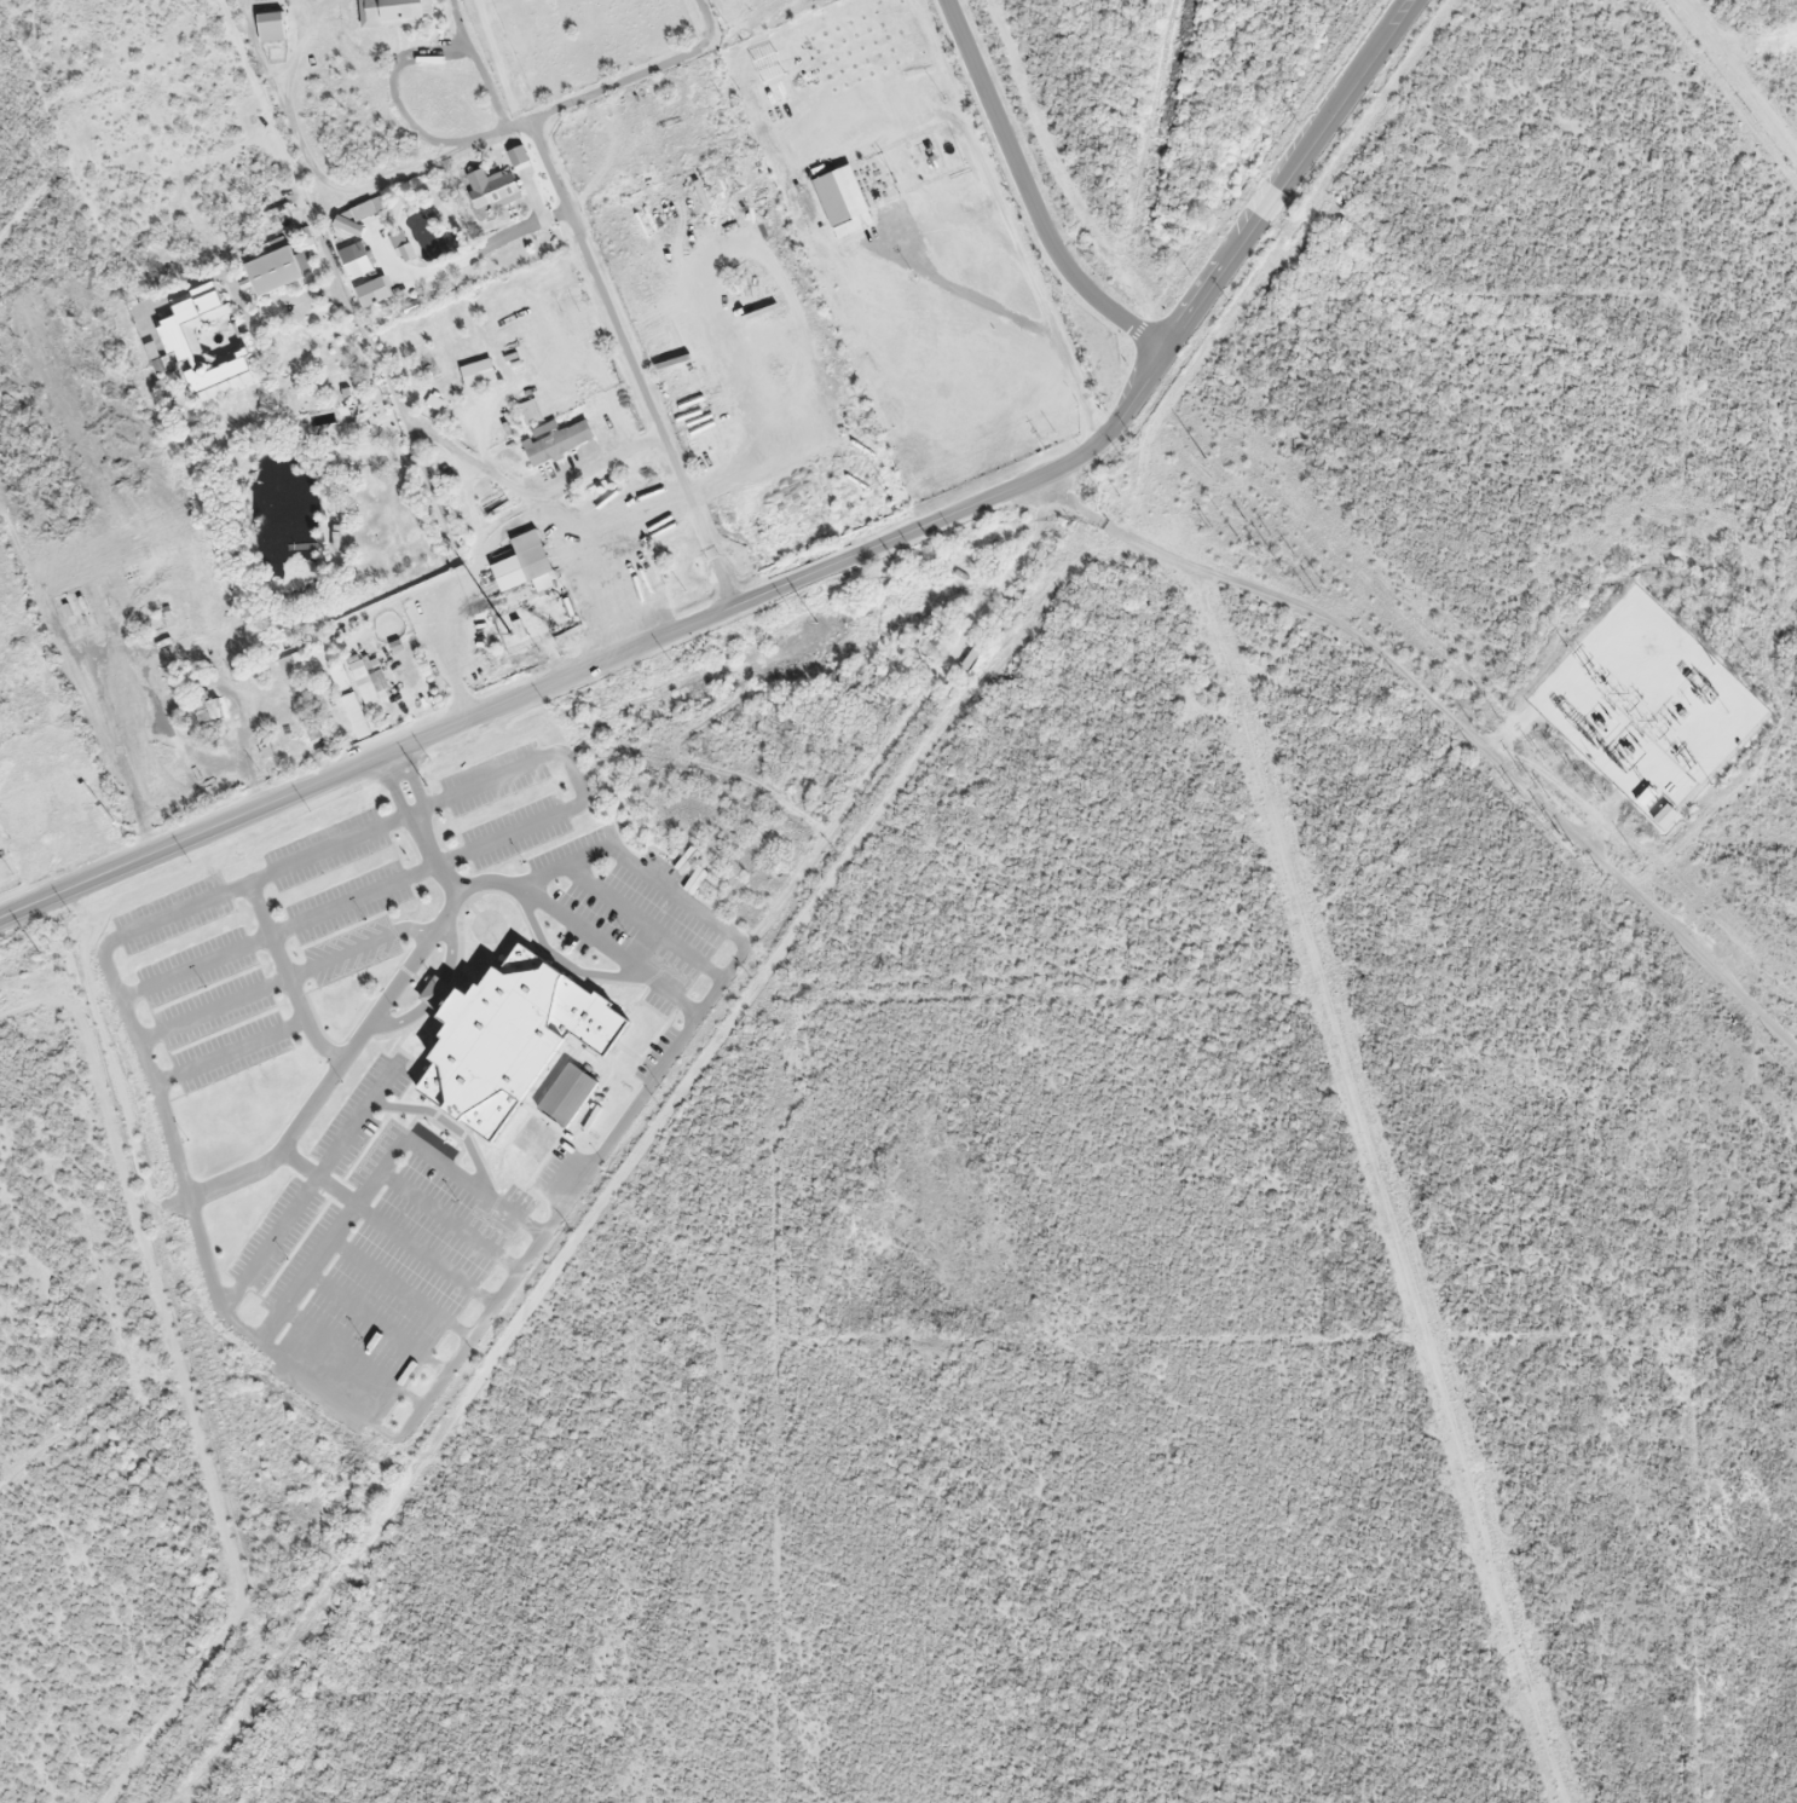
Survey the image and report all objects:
building: (393, 12)
building: (270, 28)
building: (518, 158)
building: (491, 190)
road: (1030, 196)
road: (1261, 218)
building: (349, 229)
road: (588, 252)
building: (353, 262)
building: (268, 267)
building: (366, 295)
building: (177, 339)
building: (557, 445)
power tower: (1207, 460)
building: (507, 574)
building: (67, 613)
building: (305, 624)
power tower: (816, 624)
power tower: (1568, 646)
road: (1375, 653)
power tower: (1591, 671)
building: (291, 676)
road: (557, 683)
building: (411, 706)
power substation: (1648, 709)
building: (207, 711)
building: (357, 712)
power tower: (1501, 720)
power tower: (1693, 768)
power tower: (1712, 786)
power tower: (427, 787)
building: (1664, 817)
power tower: (1639, 863)
road: (670, 886)
road: (353, 898)
road: (643, 919)
road: (582, 930)
road: (358, 947)
power tower: (39, 954)
road: (195, 965)
road: (287, 976)
road: (437, 990)
road: (383, 999)
road: (213, 1010)
building: (509, 1040)
road: (231, 1051)
building: (567, 1097)
road: (451, 1125)
road: (172, 1138)
road: (639, 1151)
road: (380, 1171)
road: (307, 1186)
road: (449, 1220)
road: (388, 1227)
road: (400, 1289)
road: (377, 1323)
road: (353, 1358)

